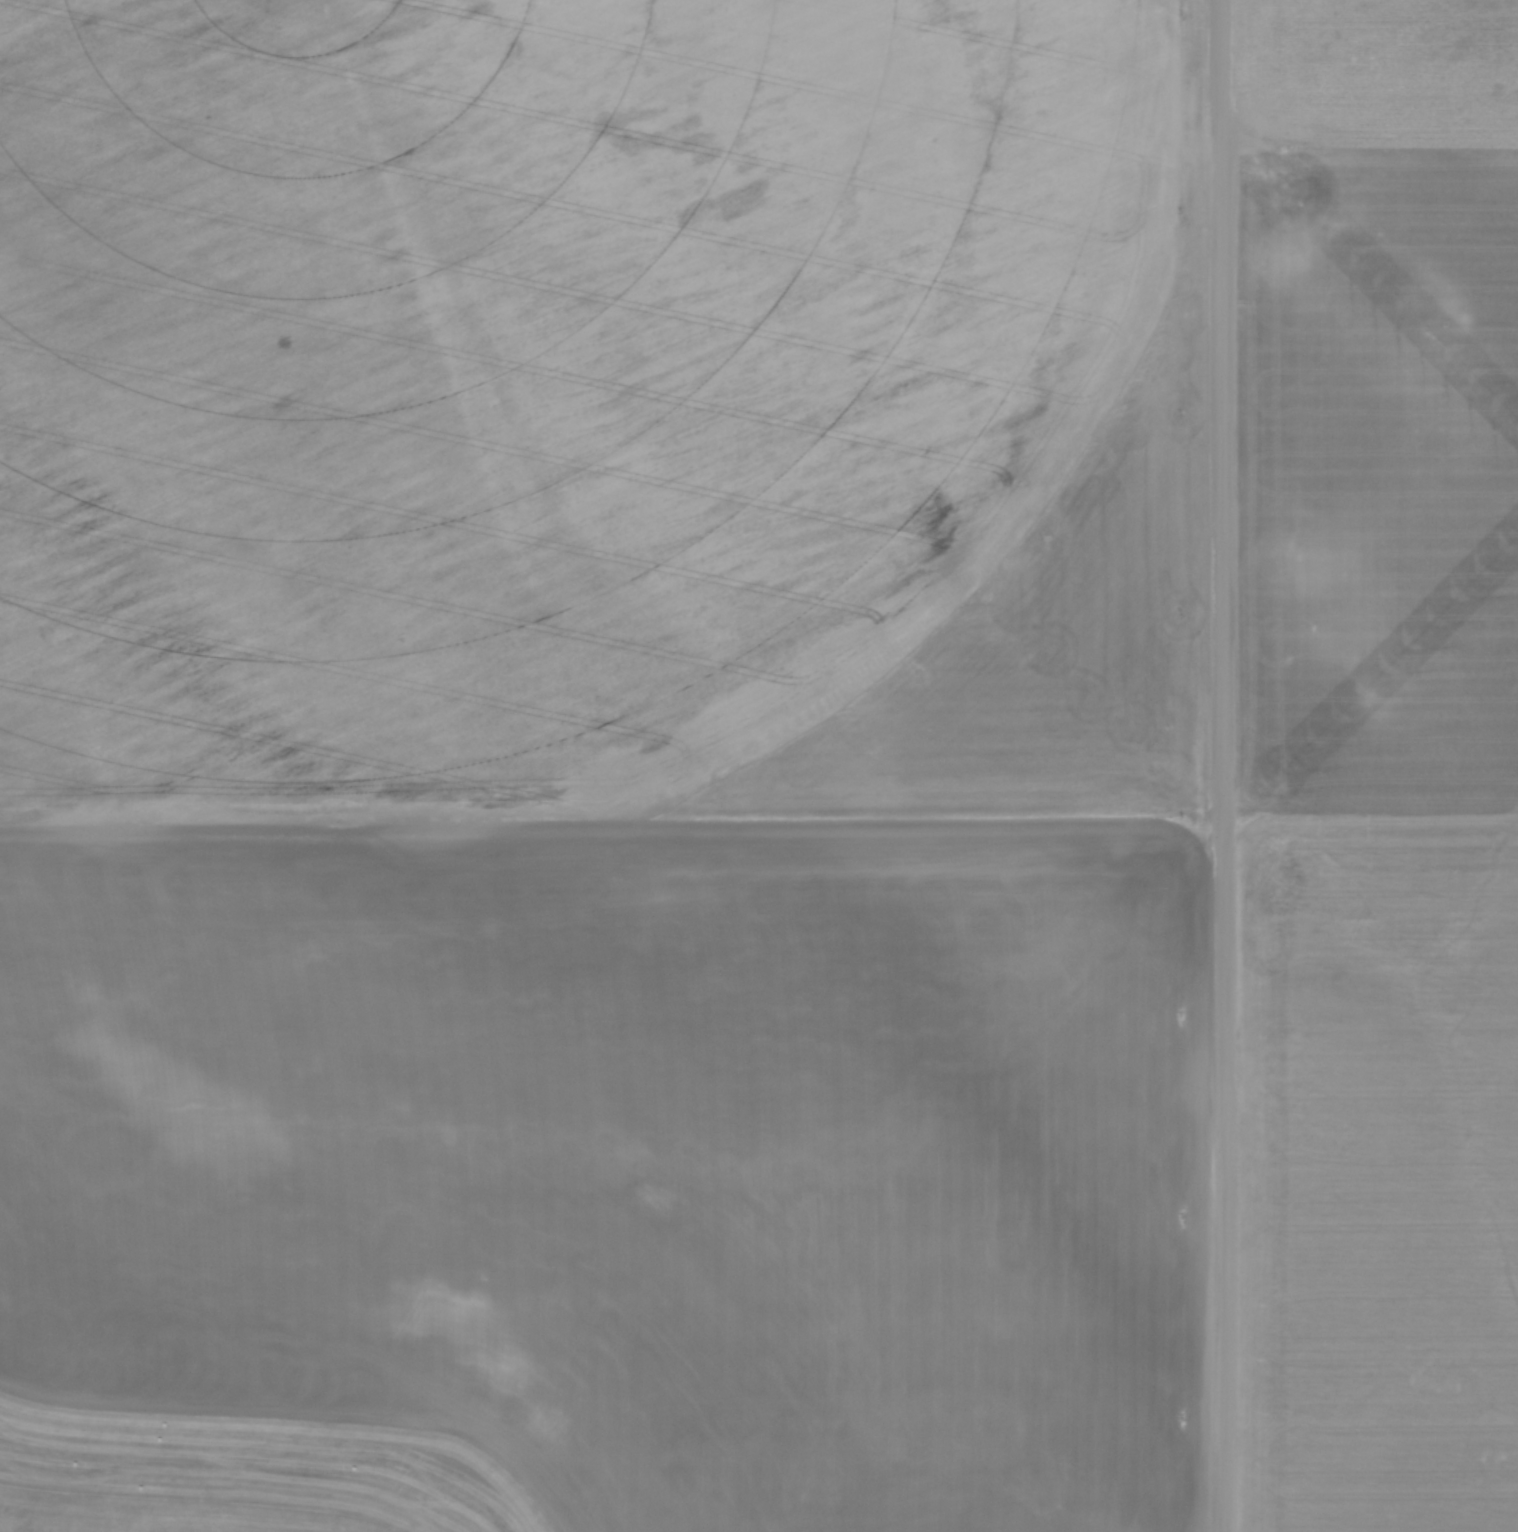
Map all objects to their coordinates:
crop: (613, 742)
road: (1225, 765)
crop: (1380, 765)
crop: (159, 1514)

